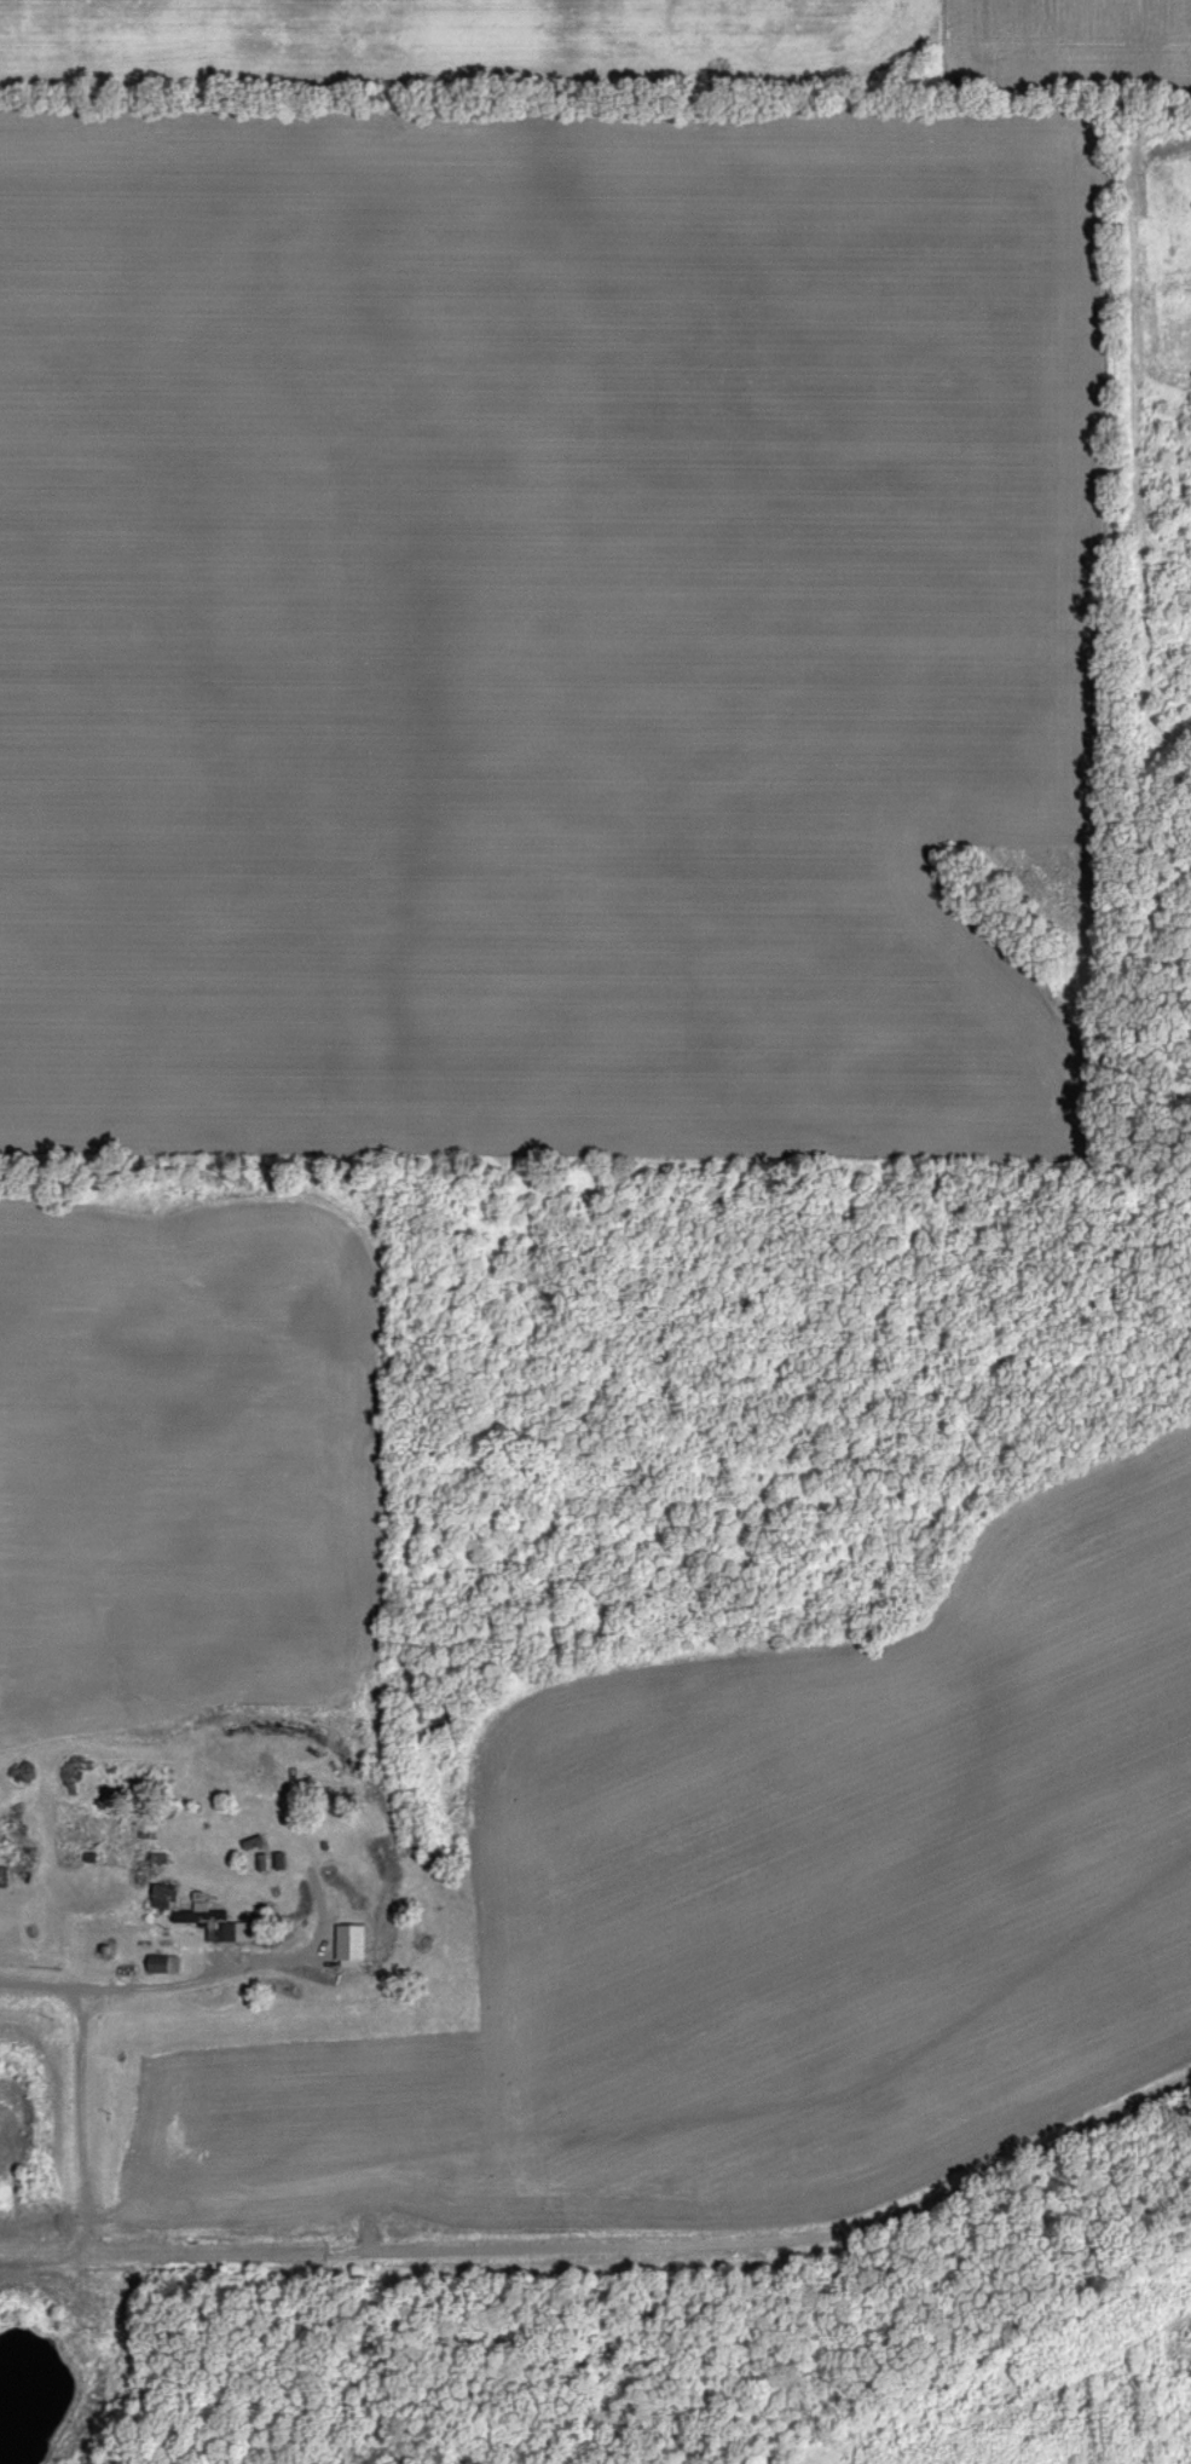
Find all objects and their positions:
building: (2, 1875)
building: (207, 1925)
building: (351, 1949)
building: (162, 1967)
road: (214, 1978)
road: (1118, 2110)
road: (403, 2247)

